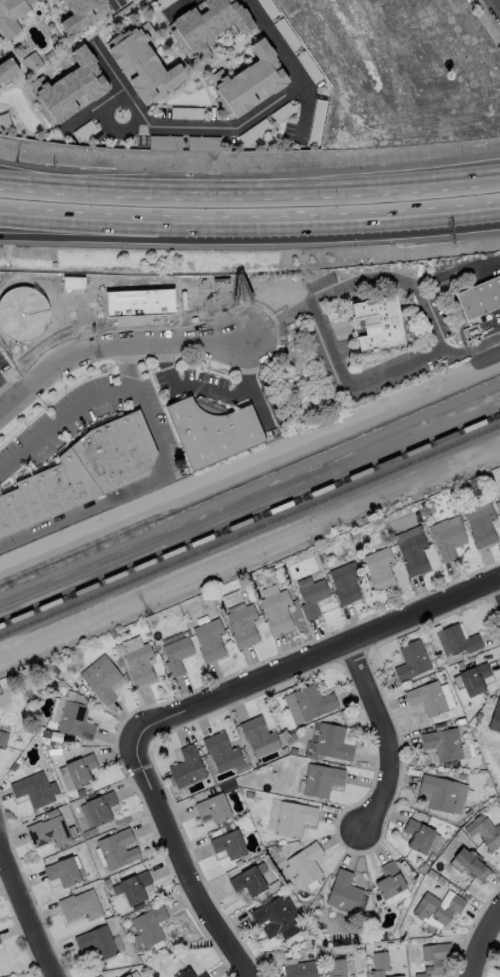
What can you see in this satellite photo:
building: (123, 0)
road: (118, 1)
road: (496, 5)
road: (175, 8)
building: (11, 15)
building: (83, 15)
building: (206, 24)
building: (32, 61)
building: (143, 62)
road: (293, 67)
building: (7, 69)
building: (249, 81)
building: (70, 87)
road: (101, 103)
road: (183, 125)
road: (116, 129)
building: (164, 142)
building: (203, 143)
road: (42, 178)
road: (41, 188)
road: (292, 190)
road: (386, 218)
road: (136, 221)
road: (137, 239)
road: (457, 270)
building: (72, 283)
road: (327, 296)
building: (480, 298)
building: (137, 301)
building: (381, 325)
road: (112, 346)
road: (437, 348)
road: (252, 384)
road: (351, 385)
road: (210, 391)
road: (6, 395)
road: (63, 422)
building: (217, 434)
building: (83, 474)
road: (146, 481)
building: (499, 500)
railway: (250, 521)
building: (480, 525)
railway: (249, 533)
building: (446, 536)
building: (413, 553)
building: (379, 568)
building: (344, 582)
road: (495, 590)
building: (311, 595)
building: (276, 611)
building: (242, 625)
building: (209, 639)
building: (459, 639)
building: (176, 654)
road: (318, 657)
building: (411, 659)
building: (139, 663)
building: (473, 678)
building: (103, 681)
building: (427, 698)
building: (308, 703)
building: (495, 716)
building: (75, 720)
building: (348, 735)
building: (258, 736)
road: (390, 737)
building: (3, 738)
building: (332, 742)
building: (442, 744)
building: (222, 752)
building: (186, 766)
building: (80, 769)
building: (321, 779)
building: (34, 789)
building: (438, 792)
building: (100, 807)
building: (213, 807)
building: (272, 815)
building: (293, 817)
building: (484, 831)
building: (48, 832)
building: (417, 835)
building: (229, 844)
building: (117, 848)
road: (195, 854)
building: (305, 863)
building: (470, 863)
building: (62, 871)
building: (389, 880)
building: (248, 881)
building: (135, 886)
building: (343, 891)
building: (79, 905)
building: (437, 907)
road: (28, 913)
building: (275, 917)
building: (149, 925)
building: (97, 942)
road: (488, 947)
building: (434, 958)
building: (348, 963)
building: (380, 964)
building: (336, 967)
building: (300, 969)
building: (185, 973)
building: (126, 975)
building: (202, 975)

